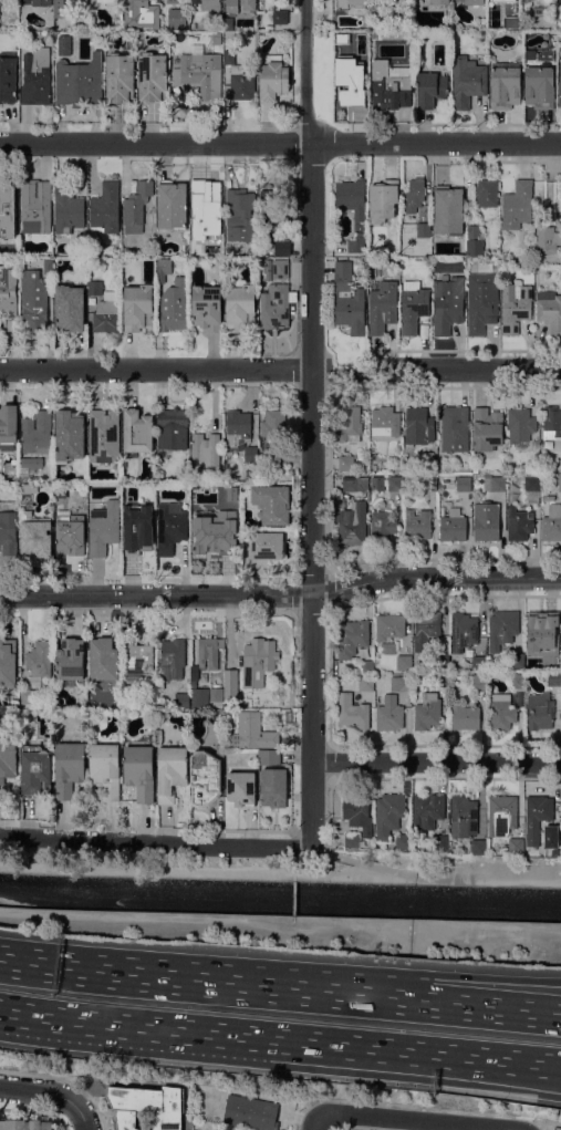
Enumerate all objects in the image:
building: (107, 0)
building: (559, 0)
building: (172, 1)
building: (439, 1)
building: (472, 1)
building: (37, 2)
building: (79, 4)
building: (208, 4)
building: (248, 4)
building: (231, 7)
building: (353, 7)
building: (58, 8)
building: (141, 13)
building: (280, 15)
building: (175, 17)
building: (216, 38)
building: (64, 44)
building: (198, 71)
building: (35, 75)
building: (120, 76)
building: (153, 76)
building: (8, 77)
building: (272, 77)
building: (238, 79)
building: (349, 80)
building: (79, 81)
building: (467, 81)
building: (388, 84)
building: (505, 84)
building: (539, 86)
building: (560, 86)
building: (430, 89)
road: (280, 142)
building: (487, 193)
building: (415, 194)
building: (351, 196)
building: (204, 198)
building: (383, 199)
building: (517, 204)
building: (35, 205)
building: (173, 205)
building: (136, 206)
building: (8, 208)
building: (67, 208)
building: (105, 208)
building: (448, 209)
building: (240, 215)
building: (271, 222)
building: (423, 229)
building: (546, 239)
building: (357, 243)
building: (103, 247)
building: (474, 247)
building: (129, 250)
building: (560, 261)
building: (48, 266)
building: (278, 267)
building: (163, 268)
building: (94, 287)
building: (8, 290)
building: (347, 299)
building: (33, 300)
building: (481, 301)
building: (173, 304)
building: (447, 304)
building: (274, 305)
building: (413, 305)
building: (137, 307)
building: (240, 307)
building: (383, 307)
building: (515, 307)
building: (70, 308)
building: (207, 308)
building: (549, 310)
building: (106, 313)
building: (8, 323)
road: (280, 369)
building: (385, 421)
road: (311, 422)
building: (551, 423)
building: (8, 424)
building: (272, 424)
building: (349, 424)
building: (520, 424)
building: (418, 425)
building: (237, 428)
building: (454, 428)
building: (487, 428)
building: (137, 431)
building: (172, 431)
building: (37, 432)
building: (69, 434)
building: (104, 435)
building: (205, 450)
building: (251, 454)
building: (185, 458)
building: (272, 458)
building: (344, 462)
building: (29, 466)
building: (475, 468)
building: (559, 481)
building: (355, 483)
building: (377, 483)
building: (395, 483)
building: (429, 483)
building: (464, 483)
building: (494, 483)
building: (531, 487)
building: (63, 491)
building: (549, 497)
building: (148, 500)
building: (272, 504)
building: (486, 520)
building: (66, 521)
building: (351, 521)
building: (552, 522)
building: (519, 523)
building: (383, 525)
building: (417, 525)
building: (453, 525)
building: (170, 526)
building: (8, 527)
building: (34, 527)
building: (104, 527)
building: (215, 527)
building: (135, 535)
building: (266, 543)
road: (281, 595)
building: (541, 624)
building: (389, 626)
building: (502, 628)
building: (426, 629)
building: (464, 630)
building: (352, 636)
building: (387, 646)
building: (209, 652)
building: (71, 659)
building: (103, 659)
building: (172, 659)
building: (553, 659)
building: (441, 660)
building: (517, 660)
building: (39, 661)
building: (137, 661)
building: (258, 661)
building: (8, 662)
building: (404, 662)
building: (479, 662)
building: (366, 666)
building: (441, 678)
building: (553, 678)
building: (479, 680)
building: (517, 680)
building: (365, 683)
building: (401, 683)
building: (230, 685)
building: (216, 694)
building: (28, 696)
building: (197, 696)
building: (181, 699)
building: (353, 711)
building: (427, 711)
building: (540, 711)
building: (389, 713)
building: (501, 714)
building: (289, 715)
building: (465, 716)
building: (253, 732)
building: (269, 757)
road: (436, 760)
building: (7, 761)
building: (69, 767)
building: (105, 768)
building: (35, 770)
building: (139, 771)
building: (170, 771)
building: (205, 778)
building: (240, 787)
building: (273, 787)
building: (428, 811)
building: (357, 812)
building: (388, 813)
building: (501, 813)
building: (464, 816)
building: (532, 823)
building: (352, 839)
road: (154, 841)
building: (404, 841)
building: (440, 842)
building: (516, 846)
building: (478, 847)
road: (355, 858)
road: (202, 872)
road: (482, 875)
river: (280, 895)
road: (280, 923)
road: (429, 974)
road: (149, 976)
road: (430, 1002)
road: (190, 1030)
road: (471, 1056)
road: (470, 1070)
road: (37, 1090)
building: (146, 1106)
road: (447, 1109)
building: (250, 1111)
road: (80, 1116)
road: (417, 1119)
road: (312, 1122)
building: (24, 1124)
building: (230, 1129)
building: (232, 1129)

